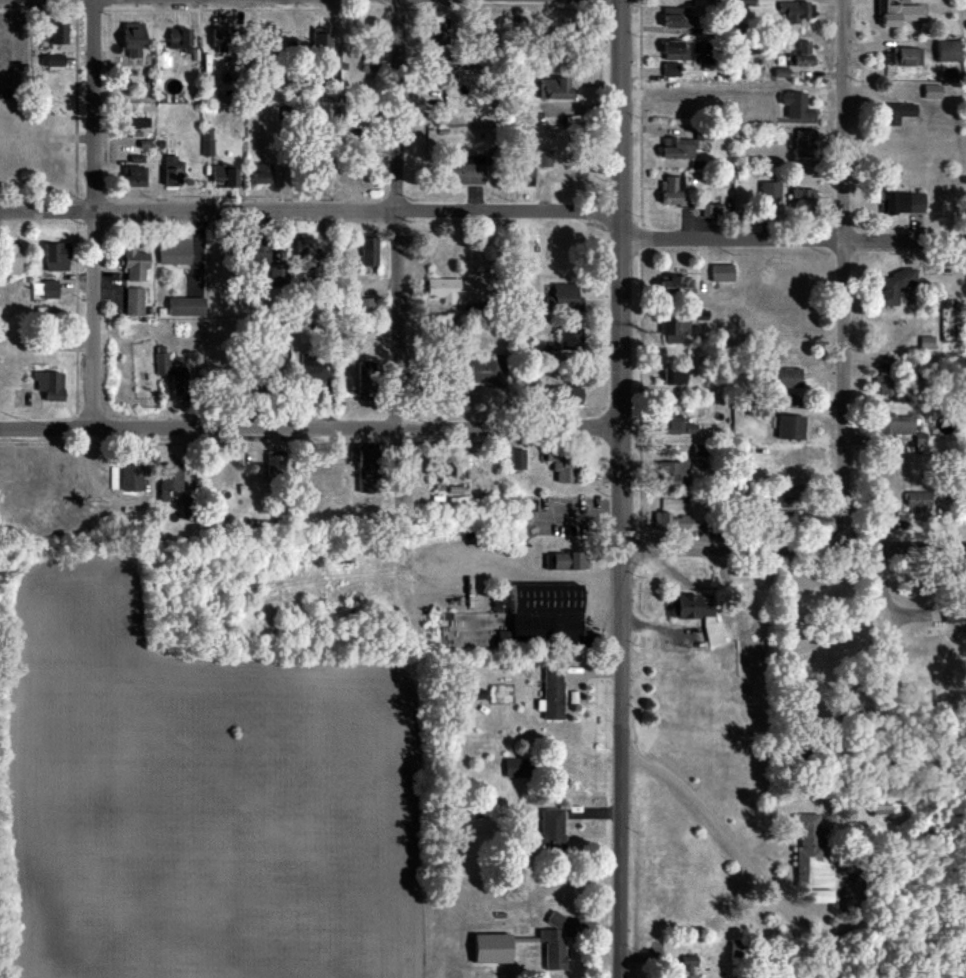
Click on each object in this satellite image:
building: (794, 12)
building: (903, 13)
building: (680, 18)
building: (57, 33)
building: (135, 35)
building: (216, 37)
building: (266, 37)
building: (179, 38)
building: (232, 39)
building: (320, 41)
building: (683, 50)
building: (950, 52)
building: (797, 56)
building: (909, 57)
building: (56, 60)
building: (369, 63)
building: (673, 72)
building: (437, 73)
building: (554, 90)
building: (934, 92)
building: (798, 106)
building: (898, 113)
building: (354, 116)
building: (132, 119)
building: (704, 135)
building: (803, 144)
building: (677, 149)
building: (175, 171)
building: (461, 171)
building: (524, 172)
building: (312, 173)
building: (261, 174)
building: (134, 176)
building: (223, 176)
building: (772, 191)
building: (804, 200)
building: (905, 202)
road: (310, 211)
road: (95, 215)
road: (792, 241)
building: (307, 252)
building: (370, 252)
building: (176, 253)
building: (57, 257)
building: (257, 259)
building: (12, 260)
building: (136, 265)
building: (723, 274)
road: (844, 274)
road: (620, 275)
building: (279, 276)
building: (675, 283)
building: (895, 286)
building: (46, 290)
road: (398, 291)
building: (444, 291)
building: (565, 299)
building: (135, 302)
building: (187, 308)
building: (366, 309)
building: (453, 327)
building: (676, 332)
building: (572, 339)
building: (45, 345)
building: (163, 365)
building: (488, 372)
building: (676, 376)
building: (267, 378)
building: (368, 380)
building: (785, 380)
building: (888, 382)
building: (181, 385)
building: (51, 386)
building: (445, 387)
building: (562, 396)
building: (896, 425)
building: (676, 426)
building: (792, 429)
road: (310, 431)
building: (519, 460)
building: (276, 464)
building: (566, 466)
building: (440, 467)
building: (369, 468)
building: (672, 472)
building: (131, 478)
building: (170, 480)
building: (920, 502)
building: (782, 506)
building: (190, 507)
building: (680, 523)
road: (793, 549)
building: (565, 562)
building: (955, 611)
building: (545, 616)
building: (697, 616)
building: (554, 693)
road: (622, 764)
building: (519, 769)
building: (553, 833)
road: (743, 855)
building: (813, 855)
building: (556, 945)
building: (741, 950)
building: (690, 968)

